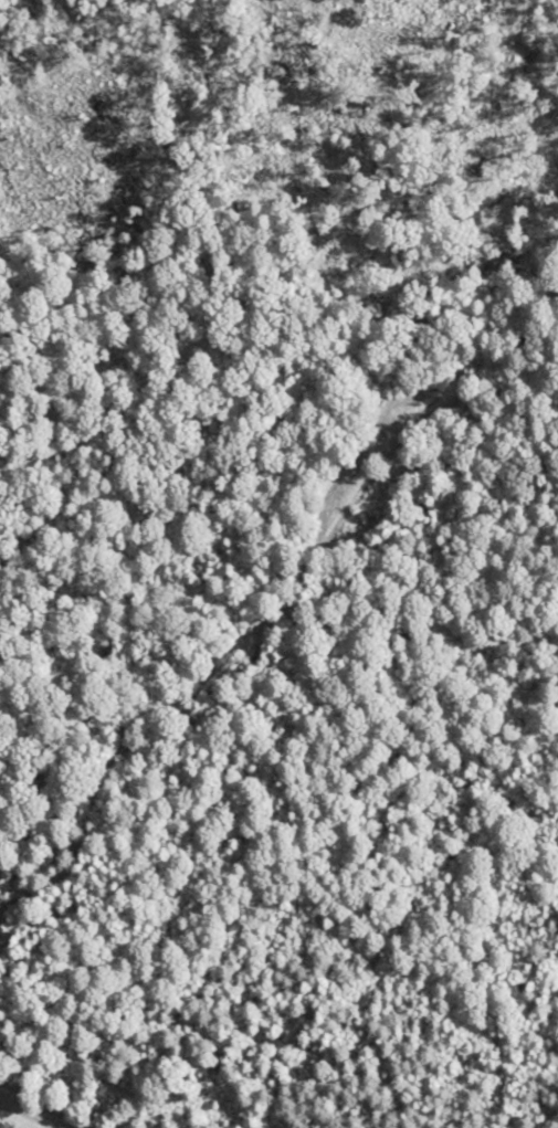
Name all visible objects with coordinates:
road: (128, 1084)

